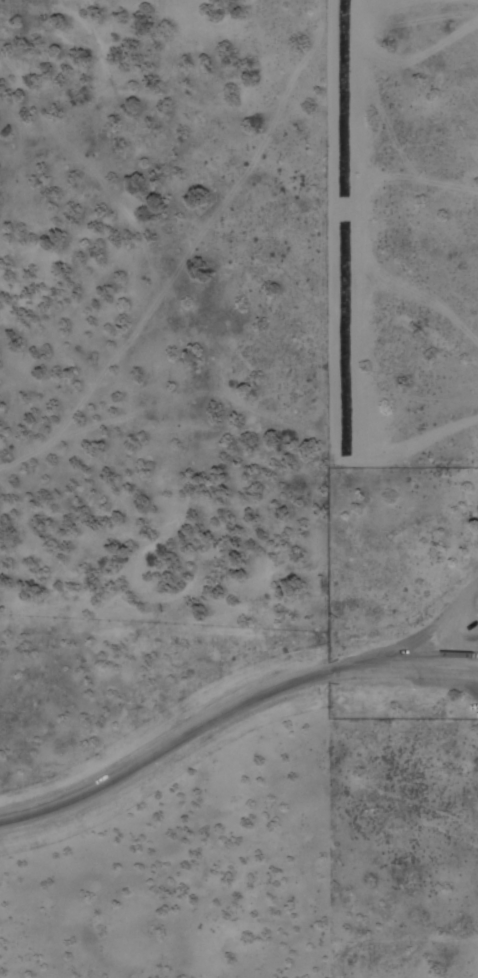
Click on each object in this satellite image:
road: (187, 233)
road: (223, 417)
road: (41, 451)
road: (227, 708)

